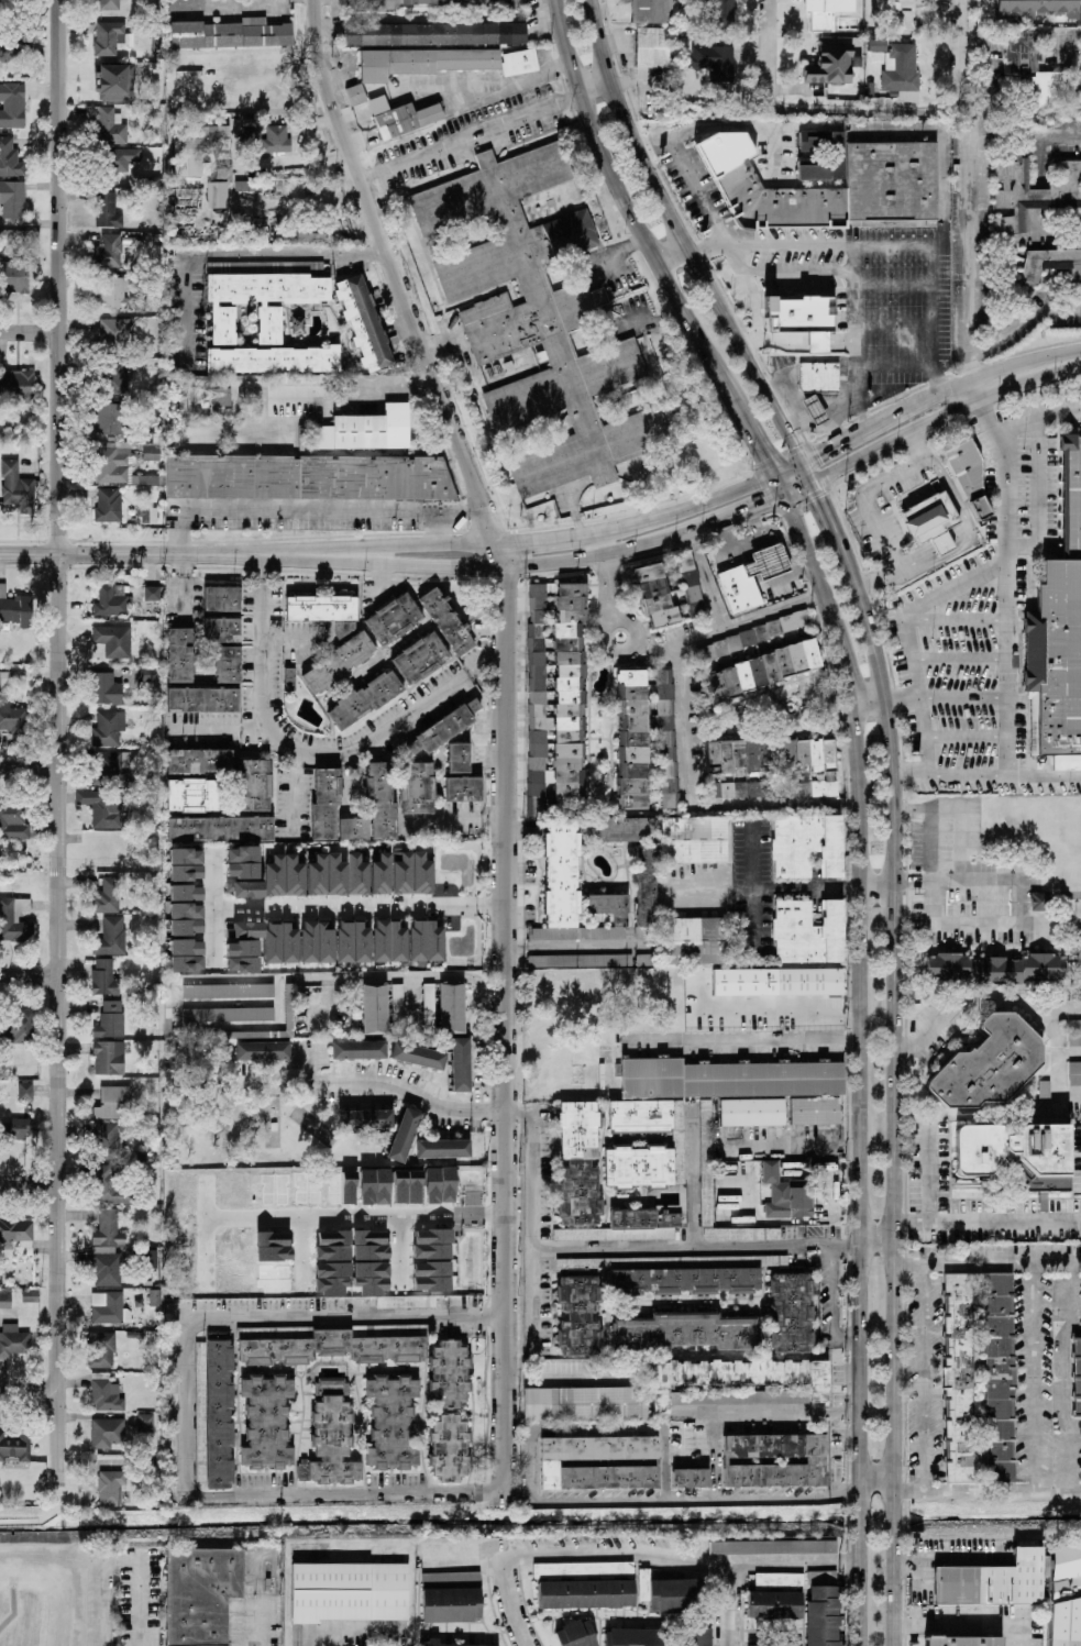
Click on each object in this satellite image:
building: (462, 3)
building: (109, 4)
building: (377, 4)
building: (1036, 9)
building: (651, 11)
building: (825, 13)
building: (896, 13)
building: (724, 14)
road: (542, 23)
building: (230, 34)
building: (434, 34)
building: (110, 38)
building: (876, 46)
building: (12, 47)
road: (961, 47)
building: (652, 48)
road: (770, 51)
building: (714, 62)
building: (424, 63)
building: (519, 63)
building: (831, 65)
building: (1034, 71)
building: (902, 73)
building: (115, 82)
road: (510, 86)
road: (596, 87)
building: (355, 95)
building: (12, 106)
road: (868, 112)
building: (401, 118)
building: (108, 125)
road: (722, 129)
road: (1059, 135)
road: (470, 136)
building: (252, 140)
building: (276, 140)
building: (197, 147)
building: (10, 158)
building: (123, 159)
building: (884, 180)
building: (272, 189)
building: (1033, 192)
building: (218, 196)
building: (12, 199)
building: (107, 211)
building: (310, 234)
road: (683, 237)
road: (650, 243)
road: (781, 247)
road: (706, 248)
building: (108, 252)
road: (244, 253)
road: (608, 253)
road: (673, 254)
building: (1050, 264)
building: (14, 277)
road: (742, 278)
road: (894, 283)
road: (851, 287)
building: (111, 294)
building: (260, 296)
road: (602, 297)
building: (534, 319)
building: (802, 319)
road: (639, 320)
road: (1023, 321)
building: (363, 323)
road: (31, 330)
building: (114, 333)
road: (764, 334)
road: (937, 343)
road: (971, 355)
building: (273, 360)
road: (1025, 376)
building: (818, 377)
building: (118, 382)
road: (859, 385)
building: (16, 386)
road: (375, 386)
building: (221, 397)
road: (794, 399)
road: (928, 399)
building: (813, 409)
road: (1040, 417)
building: (112, 420)
road: (829, 423)
building: (366, 431)
road: (837, 433)
road: (847, 441)
road: (896, 443)
building: (153, 446)
traffic signals: (806, 463)
building: (112, 465)
road: (791, 470)
road: (812, 475)
traffic signals: (775, 476)
building: (308, 477)
building: (969, 480)
building: (16, 487)
traffic signals: (817, 488)
road: (802, 494)
road: (1038, 496)
traffic signals: (786, 499)
building: (1071, 500)
building: (108, 505)
road: (313, 509)
road: (681, 510)
road: (751, 511)
road: (870, 512)
building: (146, 516)
road: (827, 517)
building: (930, 521)
road: (966, 526)
road: (435, 527)
road: (543, 538)
road: (384, 544)
road: (132, 555)
road: (493, 565)
road: (265, 567)
road: (613, 573)
building: (688, 578)
building: (751, 578)
road: (707, 582)
road: (962, 584)
building: (152, 594)
building: (655, 597)
building: (222, 599)
building: (111, 600)
building: (14, 609)
building: (321, 609)
building: (696, 609)
building: (419, 620)
road: (962, 620)
parking lot: (981, 620)
road: (639, 628)
road: (730, 628)
fountain: (621, 639)
building: (112, 640)
building: (224, 648)
building: (705, 652)
building: (180, 655)
building: (420, 658)
road: (917, 659)
road: (964, 659)
building: (1054, 660)
road: (1011, 661)
building: (339, 663)
road: (487, 666)
building: (761, 671)
building: (4, 675)
building: (290, 681)
building: (106, 689)
road: (968, 698)
building: (364, 699)
building: (202, 700)
road: (905, 702)
road: (870, 706)
building: (13, 717)
building: (108, 729)
road: (505, 730)
building: (441, 731)
road: (929, 736)
road: (970, 737)
building: (666, 739)
building: (631, 740)
road: (60, 741)
road: (304, 752)
building: (737, 755)
building: (459, 759)
building: (199, 762)
building: (537, 764)
building: (107, 767)
building: (829, 769)
road: (30, 770)
road: (986, 774)
building: (253, 785)
building: (417, 788)
road: (293, 789)
building: (463, 789)
building: (736, 789)
building: (192, 796)
building: (380, 802)
building: (326, 803)
building: (101, 807)
road: (702, 808)
road: (928, 811)
building: (14, 824)
building: (354, 829)
building: (622, 829)
building: (219, 830)
building: (693, 840)
building: (806, 846)
road: (963, 846)
building: (242, 863)
building: (185, 865)
road: (931, 868)
building: (412, 874)
building: (357, 875)
building: (380, 875)
building: (284, 876)
building: (327, 876)
road: (958, 881)
road: (765, 888)
building: (244, 890)
road: (753, 890)
road: (876, 890)
building: (572, 891)
building: (646, 892)
building: (185, 893)
building: (106, 896)
road: (1028, 896)
road: (1038, 896)
road: (1063, 896)
road: (1049, 899)
road: (1026, 901)
building: (1038, 902)
road: (1028, 904)
road: (1038, 904)
road: (359, 907)
road: (213, 914)
building: (11, 916)
building: (185, 920)
road: (1006, 923)
building: (244, 931)
building: (808, 931)
building: (111, 936)
building: (353, 941)
building: (389, 941)
building: (426, 941)
building: (694, 941)
building: (317, 942)
building: (280, 943)
road: (574, 946)
building: (186, 955)
building: (242, 957)
building: (580, 961)
building: (947, 966)
building: (1043, 966)
building: (995, 972)
building: (103, 976)
road: (402, 976)
road: (29, 977)
building: (809, 981)
road: (861, 982)
building: (228, 992)
road: (1016, 999)
building: (397, 1004)
building: (429, 1008)
building: (452, 1008)
road: (1062, 1008)
building: (375, 1009)
building: (228, 1015)
building: (110, 1020)
road: (893, 1020)
building: (18, 1029)
building: (1074, 1032)
road: (748, 1043)
building: (262, 1050)
building: (359, 1050)
road: (1070, 1054)
building: (418, 1056)
building: (108, 1058)
building: (988, 1064)
building: (460, 1065)
building: (1074, 1073)
road: (250, 1085)
road: (396, 1087)
building: (25, 1090)
building: (726, 1093)
building: (111, 1104)
road: (520, 1109)
building: (365, 1120)
building: (16, 1129)
building: (404, 1136)
building: (104, 1139)
road: (809, 1144)
building: (443, 1149)
building: (578, 1166)
building: (639, 1167)
road: (692, 1178)
road: (934, 1181)
road: (30, 1182)
building: (440, 1185)
building: (407, 1186)
building: (382, 1187)
building: (110, 1189)
building: (786, 1194)
road: (356, 1214)
road: (986, 1223)
building: (644, 1224)
road: (533, 1228)
building: (107, 1230)
building: (16, 1235)
building: (433, 1237)
road: (876, 1240)
road: (804, 1241)
road: (826, 1244)
road: (786, 1245)
building: (369, 1246)
road: (847, 1246)
road: (658, 1247)
road: (807, 1249)
building: (151, 1259)
road: (986, 1267)
building: (106, 1269)
building: (372, 1278)
building: (669, 1278)
road: (832, 1290)
building: (4, 1301)
building: (406, 1302)
building: (107, 1308)
building: (791, 1313)
road: (477, 1315)
building: (578, 1316)
building: (684, 1332)
road: (847, 1336)
building: (12, 1341)
building: (322, 1346)
building: (99, 1349)
building: (449, 1373)
building: (736, 1377)
road: (925, 1377)
road: (1034, 1377)
road: (1065, 1377)
building: (1077, 1377)
building: (979, 1378)
road: (30, 1390)
building: (104, 1393)
building: (744, 1395)
building: (585, 1404)
building: (216, 1414)
road: (662, 1419)
building: (266, 1422)
building: (144, 1423)
road: (185, 1423)
building: (391, 1423)
building: (107, 1433)
building: (331, 1436)
building: (14, 1447)
building: (450, 1448)
road: (715, 1451)
road: (664, 1455)
building: (774, 1460)
building: (550, 1463)
building: (691, 1478)
road: (874, 1484)
road: (985, 1487)
building: (112, 1489)
road: (490, 1490)
road: (682, 1490)
road: (860, 1518)
road: (891, 1522)
building: (773, 1547)
road: (575, 1556)
road: (121, 1561)
road: (946, 1561)
road: (792, 1565)
building: (992, 1581)
building: (585, 1584)
road: (860, 1591)
building: (349, 1592)
road: (893, 1592)
building: (200, 1594)
building: (669, 1594)
building: (1066, 1595)
building: (775, 1597)
building: (451, 1598)
road: (509, 1603)
road: (726, 1605)
building: (823, 1615)
road: (963, 1623)
road: (345, 1634)
building: (576, 1634)
building: (695, 1636)
building: (637, 1637)
building: (430, 1642)
building: (963, 1642)
building: (776, 1645)

